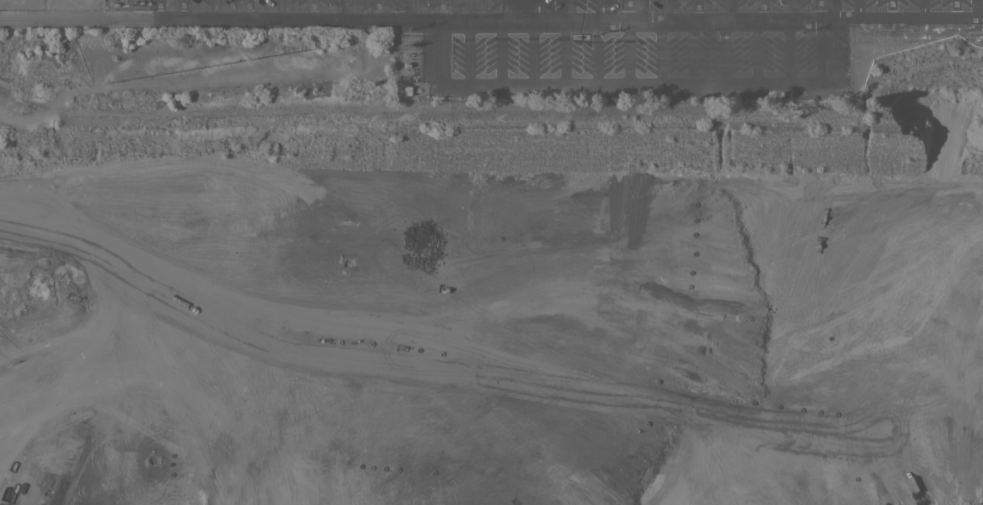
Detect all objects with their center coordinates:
road: (825, 8)
road: (856, 8)
road: (890, 8)
road: (922, 8)
road: (954, 8)
road: (976, 8)
road: (376, 9)
road: (409, 9)
road: (440, 9)
road: (473, 9)
road: (504, 9)
road: (536, 9)
road: (568, 9)
road: (600, 9)
road: (632, 9)
road: (665, 9)
road: (696, 9)
road: (726, 9)
road: (761, 9)
road: (791, 9)
road: (181, 10)
road: (213, 10)
road: (245, 10)
road: (278, 10)
road: (311, 10)
road: (343, 10)
road: (491, 19)
parking lot: (622, 35)
road: (722, 51)
road: (754, 51)
road: (785, 51)
road: (820, 51)
road: (436, 52)
road: (627, 52)
road: (660, 52)
road: (690, 52)
road: (532, 53)
road: (562, 53)
road: (596, 53)
road: (467, 54)
road: (499, 54)
road: (639, 86)
quarry: (484, 280)

